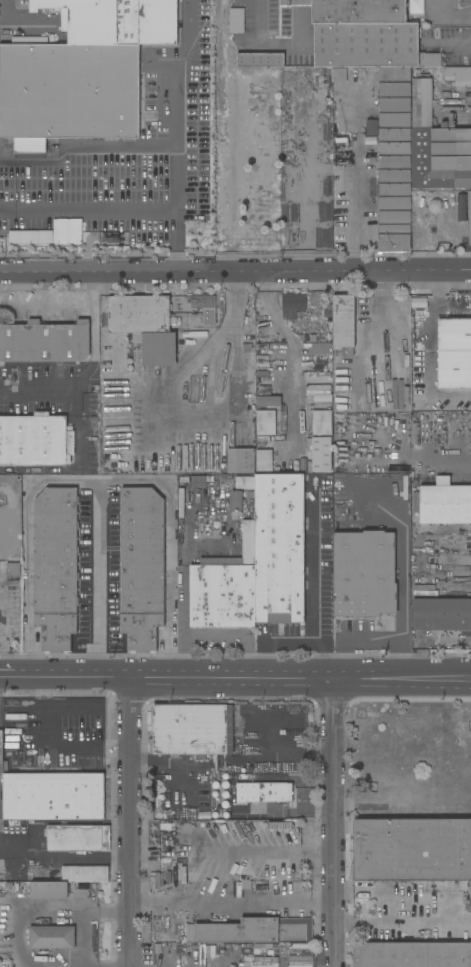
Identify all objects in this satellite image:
building: (415, 7)
road: (446, 15)
building: (236, 20)
road: (294, 20)
road: (451, 46)
building: (260, 60)
building: (81, 72)
road: (171, 72)
building: (339, 75)
building: (458, 75)
building: (423, 104)
building: (396, 126)
road: (80, 149)
building: (441, 159)
road: (360, 180)
building: (461, 208)
road: (118, 212)
building: (470, 218)
road: (235, 270)
road: (437, 288)
road: (235, 295)
road: (61, 304)
building: (292, 305)
building: (205, 308)
road: (384, 316)
building: (344, 324)
building: (144, 326)
building: (194, 335)
building: (44, 342)
building: (317, 348)
road: (427, 351)
road: (93, 353)
building: (454, 354)
building: (263, 361)
building: (268, 394)
road: (36, 397)
building: (321, 399)
building: (266, 423)
building: (322, 423)
building: (36, 441)
building: (240, 458)
building: (264, 462)
building: (324, 467)
building: (465, 475)
building: (201, 481)
road: (97, 483)
building: (245, 483)
building: (236, 501)
building: (443, 504)
building: (9, 513)
building: (257, 564)
building: (56, 567)
building: (142, 567)
building: (13, 570)
building: (364, 574)
road: (101, 581)
road: (313, 582)
road: (184, 612)
building: (442, 615)
road: (1, 630)
road: (234, 639)
road: (275, 644)
building: (459, 647)
road: (235, 679)
building: (193, 729)
road: (55, 744)
road: (174, 766)
building: (265, 792)
building: (377, 794)
building: (51, 795)
building: (402, 813)
road: (131, 823)
road: (333, 823)
building: (78, 838)
building: (277, 849)
road: (9, 850)
building: (412, 851)
building: (272, 858)
building: (84, 874)
building: (250, 877)
building: (246, 888)
building: (49, 890)
road: (52, 911)
road: (402, 928)
building: (253, 931)
building: (52, 937)
building: (301, 946)
building: (412, 954)
building: (301, 958)

